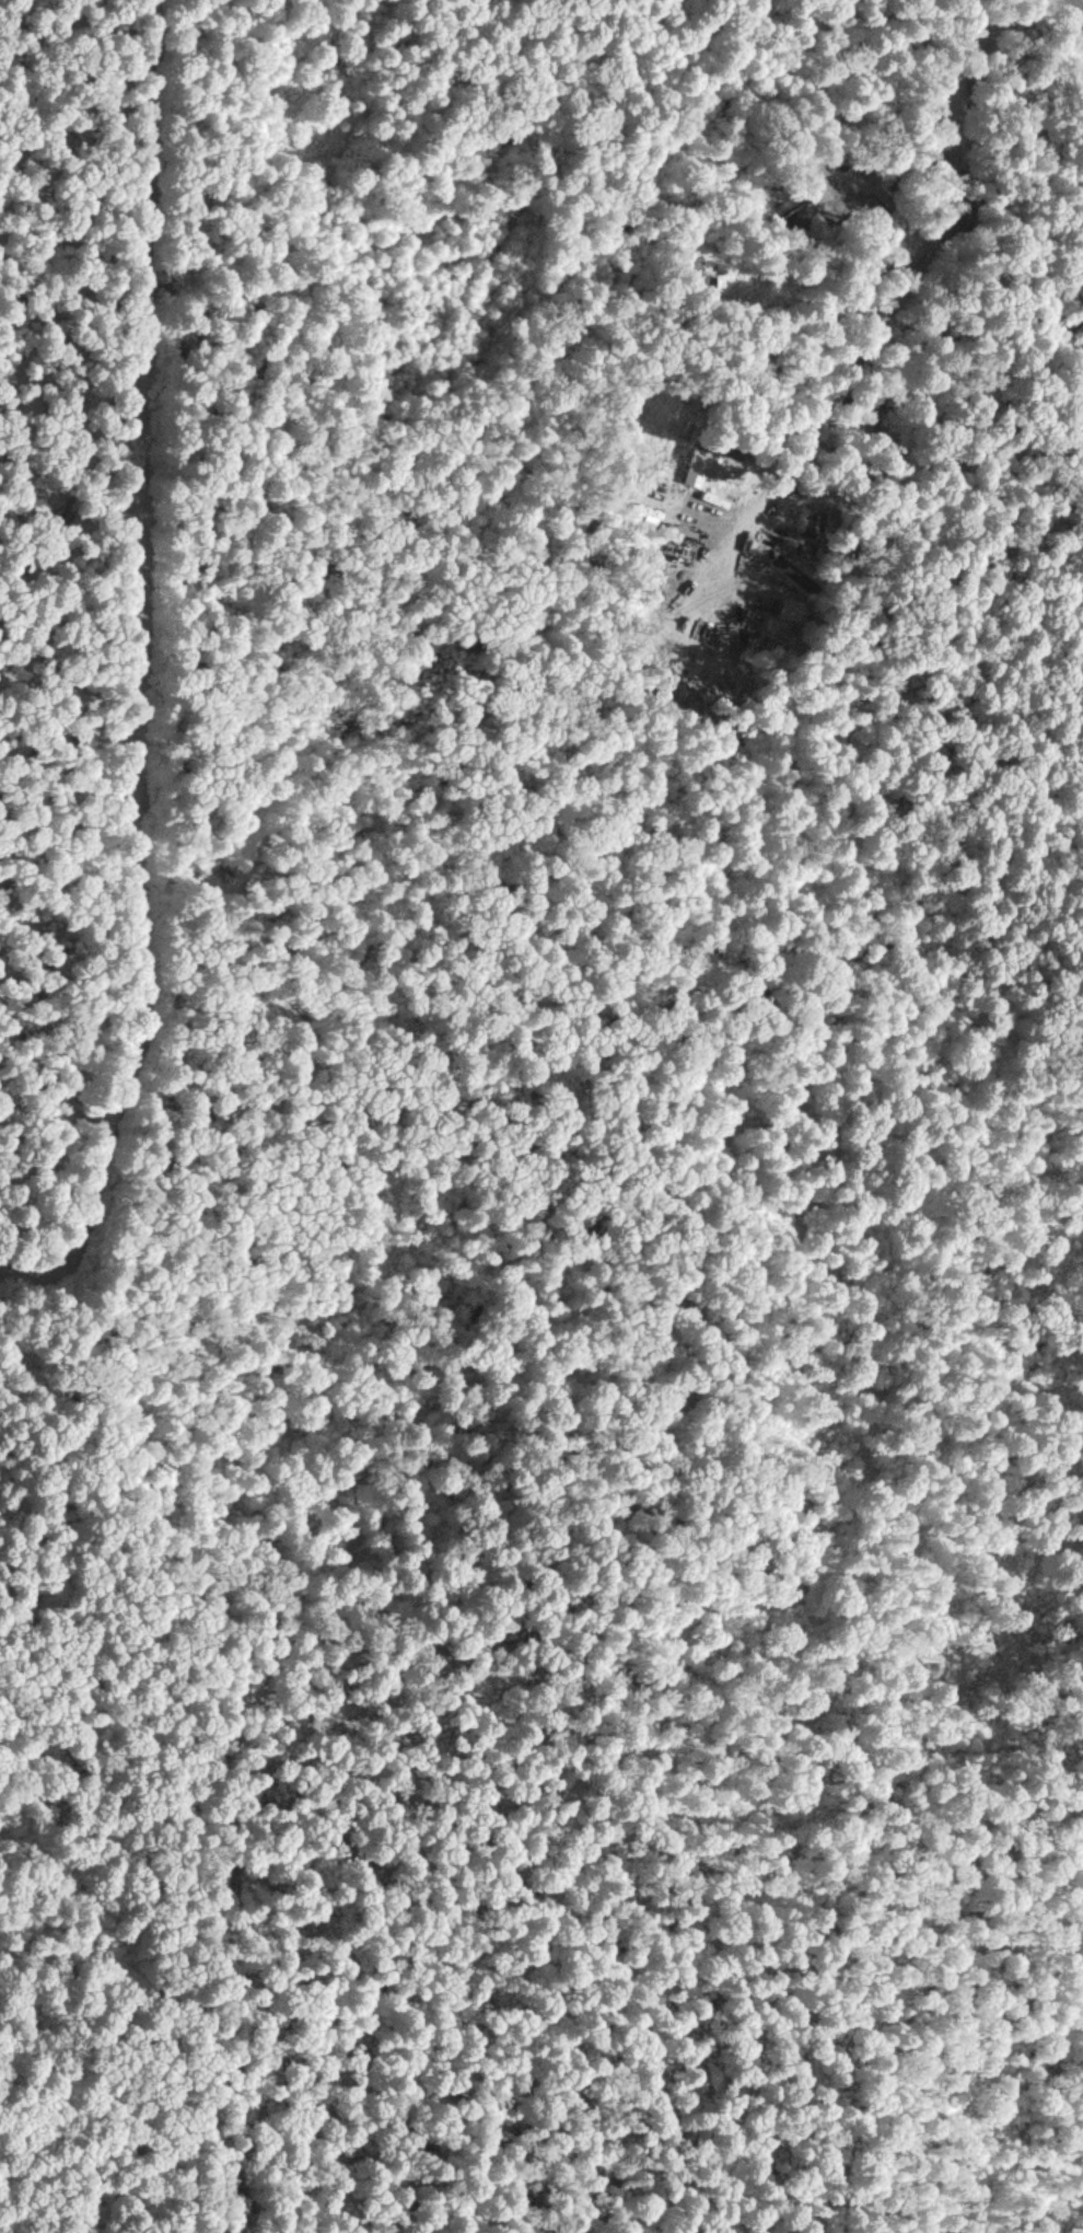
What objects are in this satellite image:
road: (1079, 9)
road: (893, 262)
building: (708, 269)
building: (709, 467)
building: (820, 520)
building: (796, 575)
building: (791, 610)

